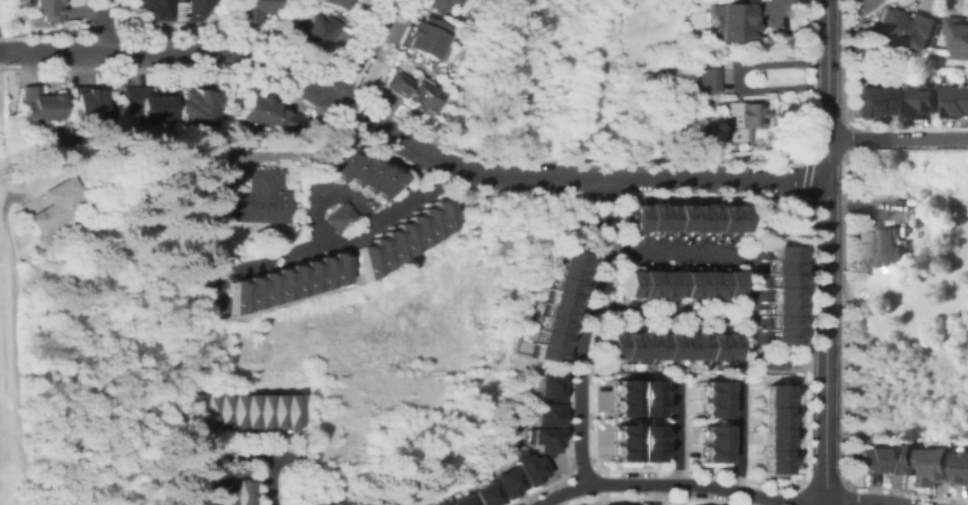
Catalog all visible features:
building: (335, 3)
building: (438, 4)
building: (155, 9)
building: (193, 9)
building: (46, 10)
building: (247, 10)
building: (740, 21)
road: (99, 26)
building: (907, 28)
building: (315, 32)
building: (957, 32)
building: (424, 37)
road: (359, 50)
building: (704, 79)
road: (828, 88)
building: (412, 92)
building: (871, 101)
building: (956, 102)
building: (145, 103)
building: (918, 103)
building: (38, 104)
building: (87, 106)
building: (196, 108)
building: (263, 114)
building: (739, 120)
road: (898, 139)
road: (406, 142)
road: (292, 148)
building: (324, 160)
building: (337, 167)
building: (353, 171)
building: (212, 178)
building: (365, 178)
building: (378, 185)
road: (803, 188)
road: (317, 196)
road: (330, 196)
road: (603, 197)
building: (258, 199)
building: (58, 205)
building: (435, 214)
building: (337, 218)
building: (630, 218)
building: (644, 218)
building: (658, 218)
building: (673, 218)
building: (687, 218)
building: (701, 218)
building: (715, 218)
building: (729, 218)
building: (422, 223)
building: (919, 224)
building: (409, 230)
building: (397, 238)
building: (385, 245)
road: (322, 247)
building: (889, 250)
road: (707, 251)
building: (778, 251)
building: (372, 252)
building: (360, 259)
building: (565, 259)
road: (599, 261)
building: (778, 265)
building: (330, 268)
building: (314, 272)
building: (562, 272)
building: (54, 274)
building: (301, 276)
building: (778, 279)
building: (287, 280)
building: (625, 283)
building: (639, 283)
building: (654, 283)
building: (668, 283)
building: (682, 283)
building: (696, 283)
building: (709, 283)
building: (724, 283)
building: (273, 284)
building: (558, 286)
building: (259, 288)
building: (245, 292)
building: (778, 294)
building: (231, 296)
building: (555, 300)
building: (209, 305)
building: (778, 308)
road: (802, 312)
building: (552, 313)
road: (723, 314)
building: (778, 322)
building: (548, 327)
building: (778, 336)
building: (545, 340)
road: (828, 341)
building: (708, 344)
road: (13, 345)
building: (610, 345)
building: (624, 345)
building: (638, 345)
building: (652, 345)
building: (666, 345)
building: (680, 345)
building: (694, 345)
building: (723, 345)
building: (542, 355)
building: (547, 386)
building: (619, 389)
building: (644, 389)
building: (707, 390)
building: (768, 394)
building: (619, 406)
building: (643, 407)
building: (707, 407)
building: (193, 410)
building: (206, 410)
building: (219, 410)
building: (233, 410)
building: (246, 410)
building: (259, 410)
building: (272, 410)
building: (285, 410)
building: (545, 414)
road: (581, 414)
building: (768, 416)
building: (619, 434)
building: (643, 434)
road: (676, 434)
building: (707, 434)
road: (737, 438)
building: (768, 438)
building: (540, 439)
road: (227, 442)
building: (619, 452)
building: (643, 452)
building: (707, 452)
road: (244, 454)
road: (564, 455)
building: (901, 460)
building: (768, 461)
building: (866, 461)
road: (596, 466)
building: (934, 467)
building: (961, 469)
building: (527, 470)
road: (266, 479)
building: (502, 481)
road: (626, 484)
building: (194, 492)
building: (208, 492)
building: (223, 492)
building: (237, 492)
road: (797, 492)
road: (559, 493)
building: (480, 494)
road: (653, 494)
road: (650, 497)
road: (742, 499)
building: (456, 500)
road: (553, 500)
road: (780, 501)
building: (434, 503)

